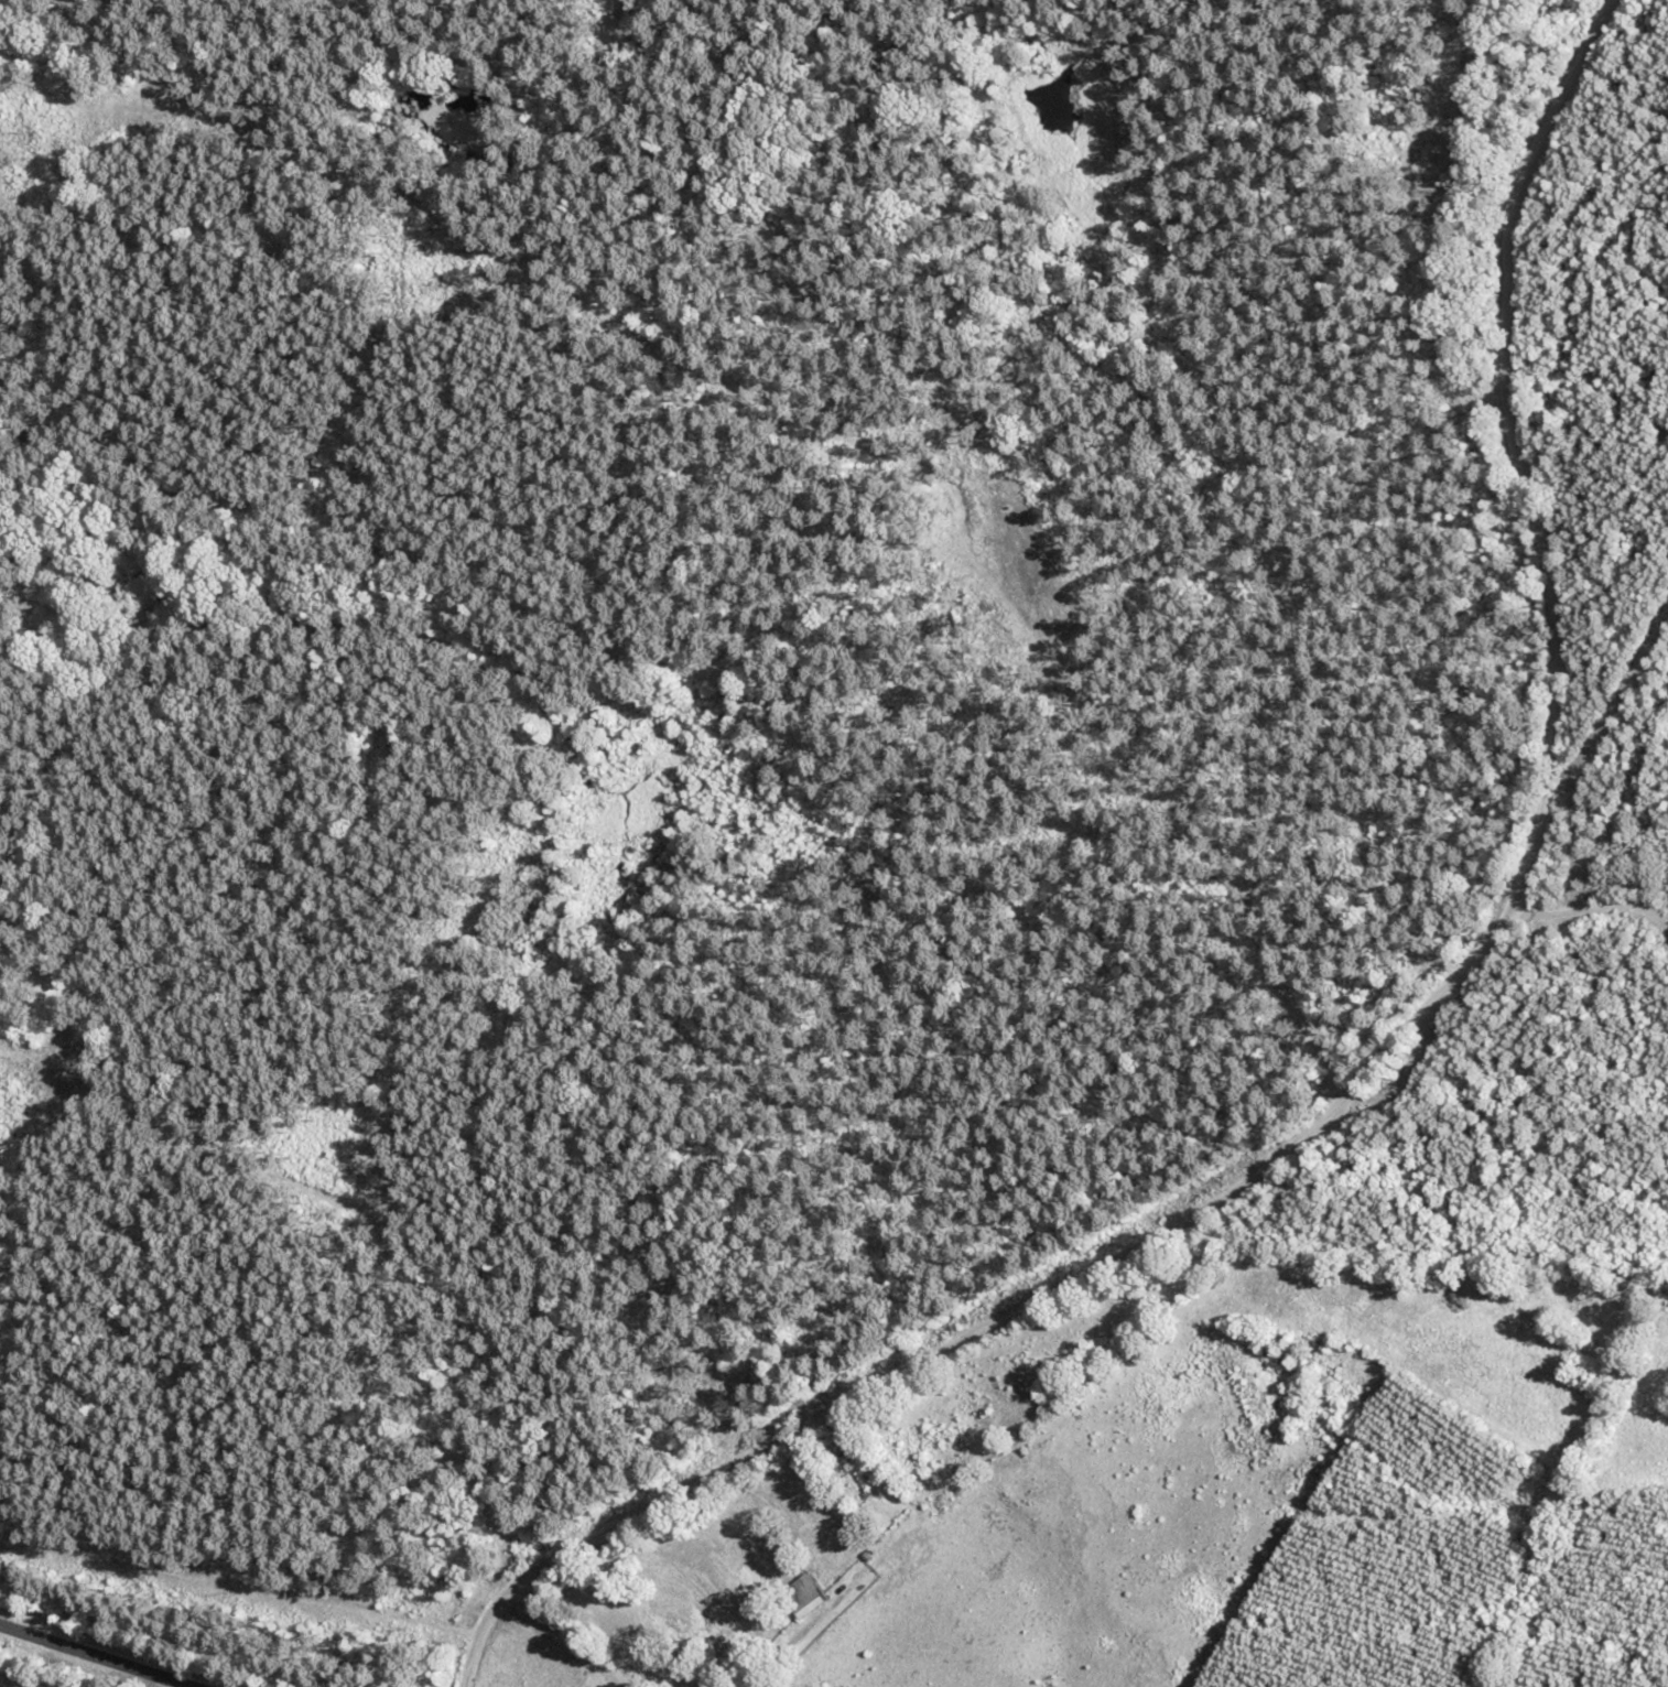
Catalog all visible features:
road: (1387, 1058)
building: (806, 1596)
road: (91, 1656)

